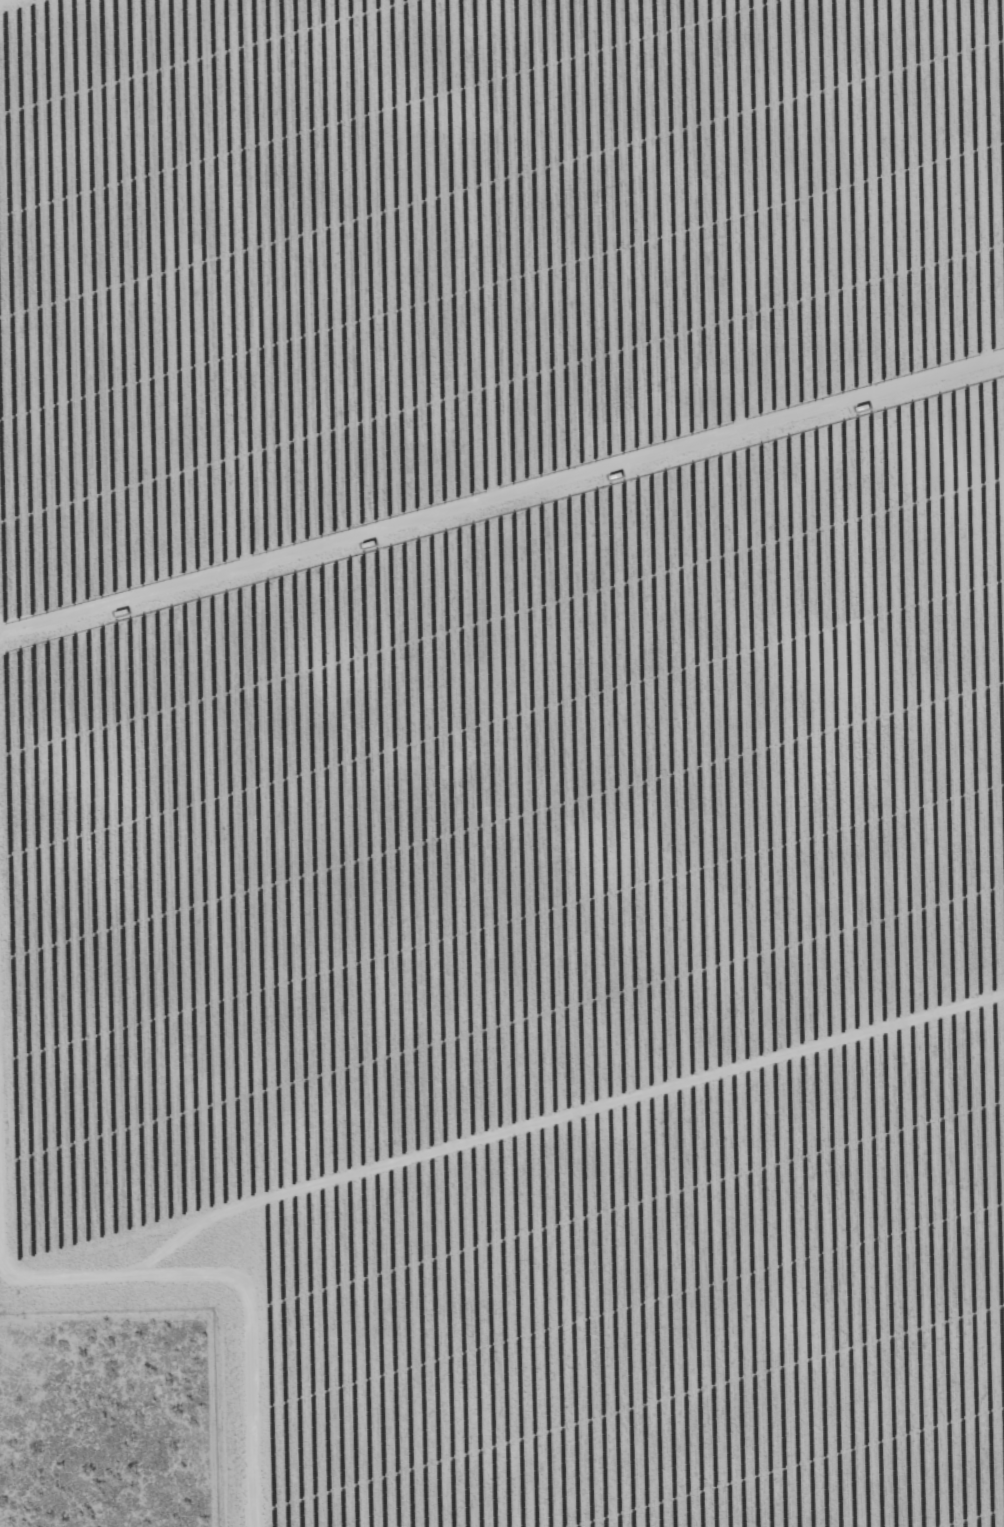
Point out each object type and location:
solar farm: (514, 742)

